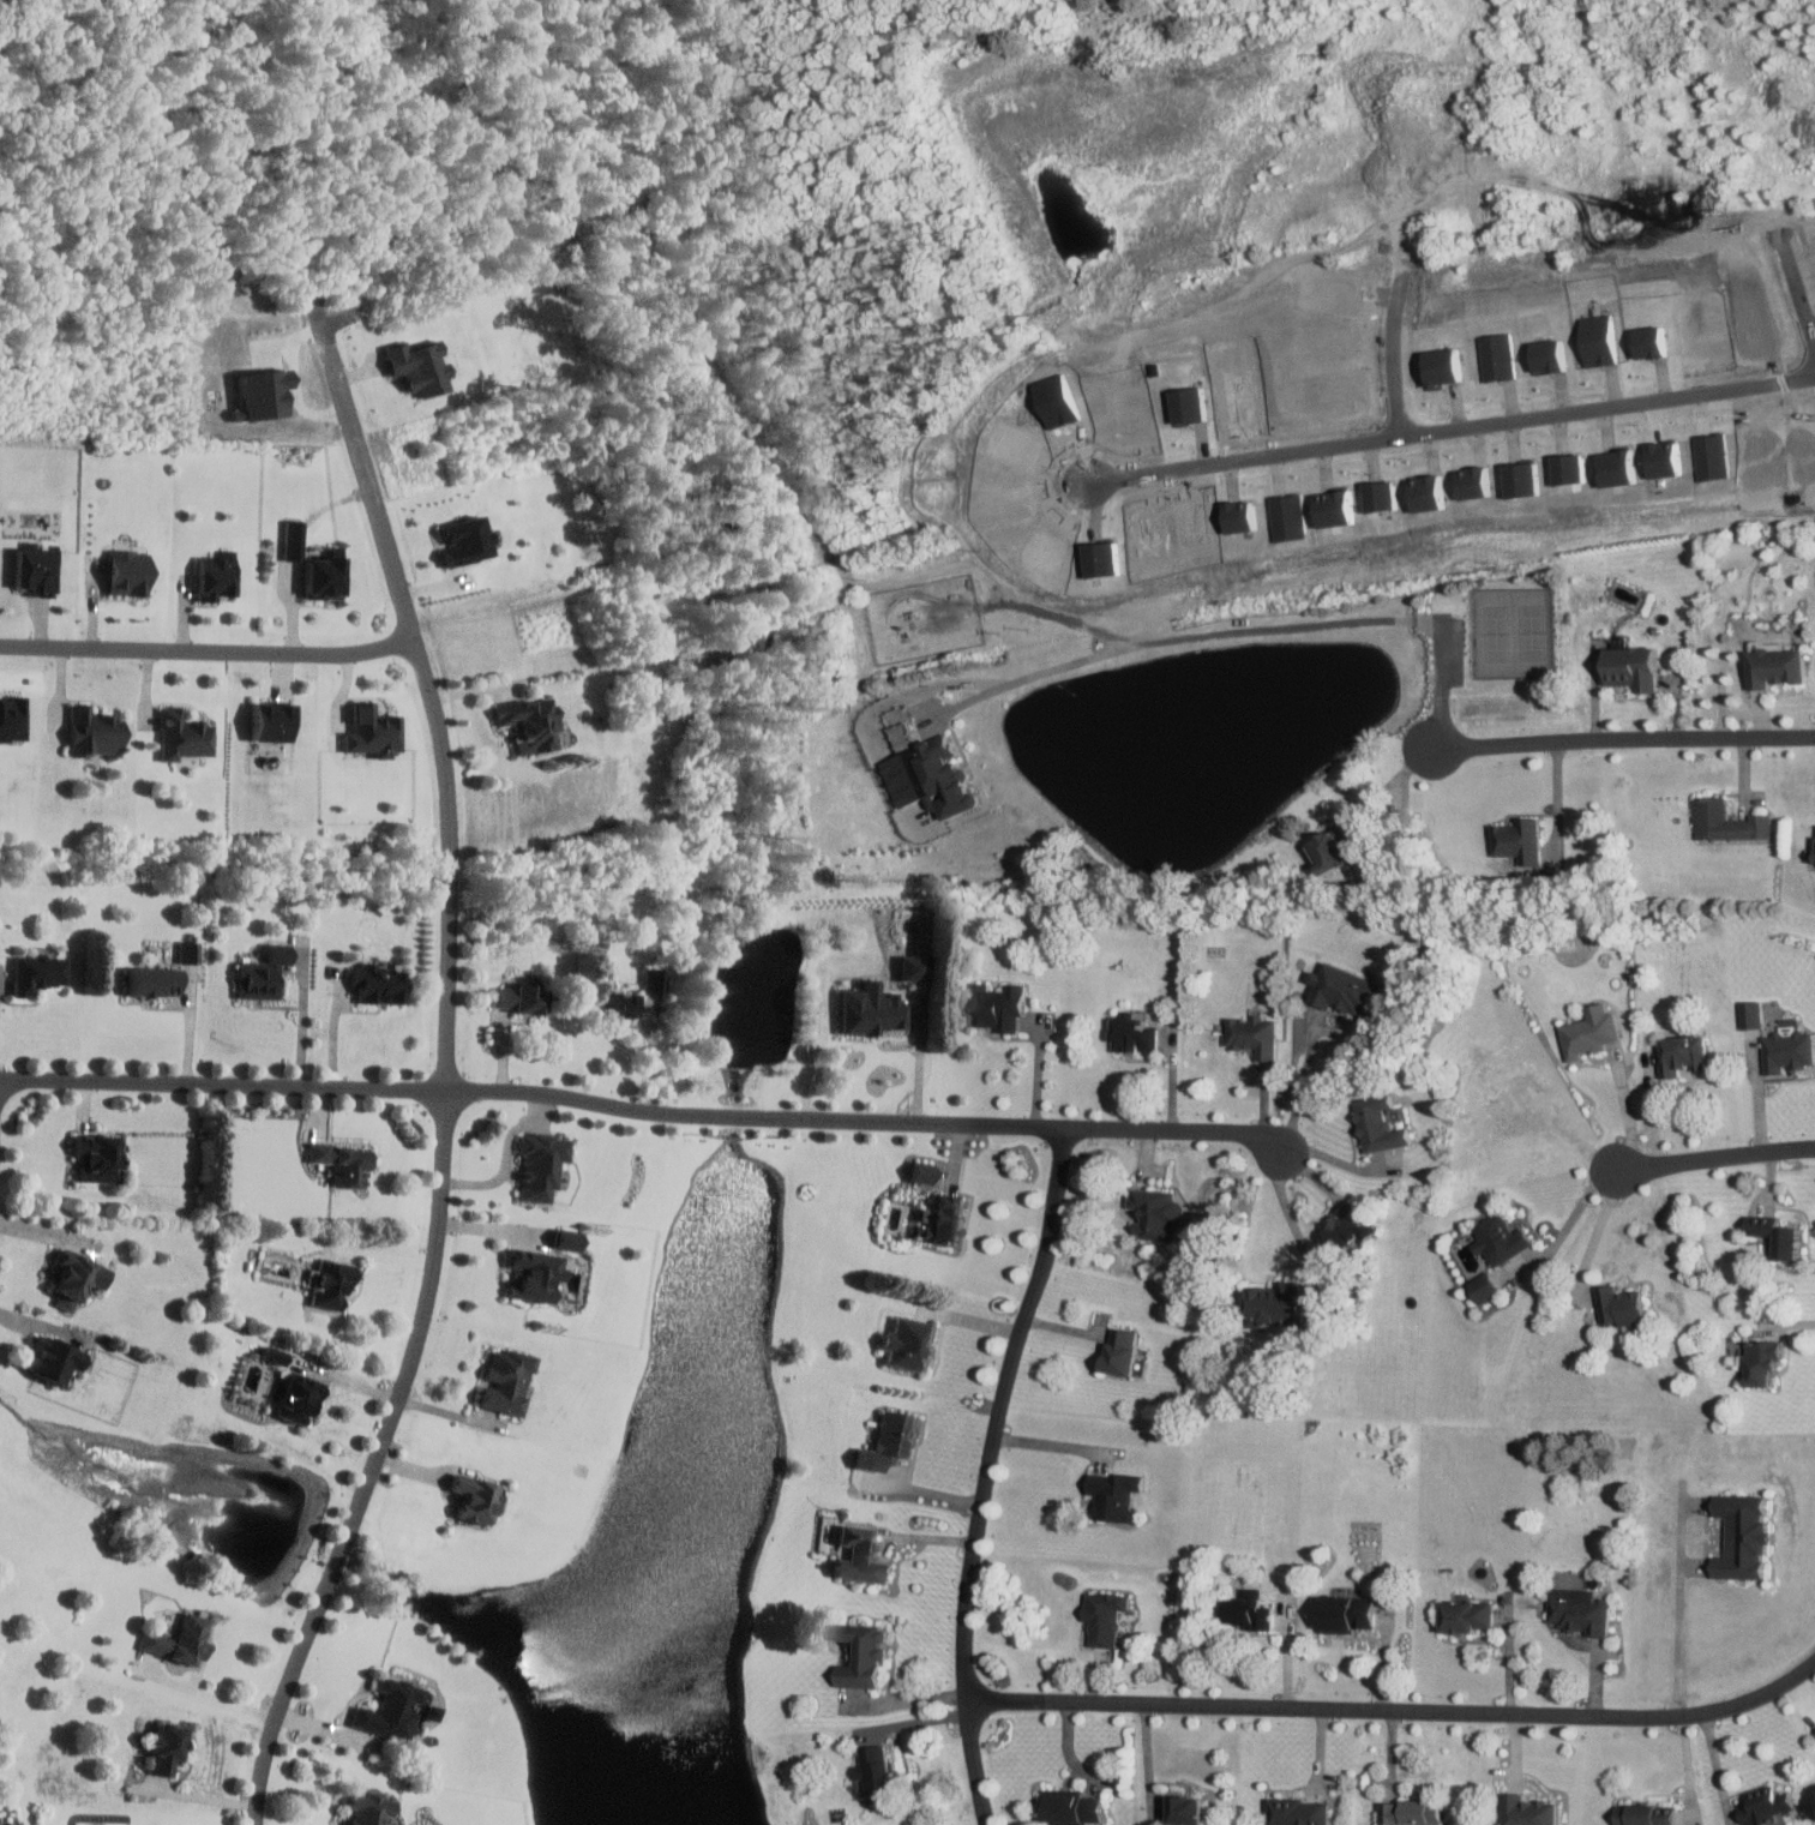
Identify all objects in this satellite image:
road: (1789, 257)
building: (420, 366)
river: (656, 424)
road: (1453, 428)
building: (467, 540)
building: (294, 551)
building: (37, 570)
building: (130, 572)
building: (217, 575)
building: (325, 578)
road: (1062, 619)
park: (1513, 629)
road: (1243, 630)
road: (210, 650)
building: (1635, 667)
building: (1779, 667)
road: (1721, 671)
road: (1751, 710)
building: (13, 718)
building: (274, 721)
building: (531, 724)
building: (94, 731)
building: (374, 732)
building: (185, 736)
road: (1623, 738)
building: (934, 776)
road: (1555, 799)
building: (1727, 821)
road: (1352, 822)
building: (1521, 841)
building: (1340, 848)
building: (1811, 856)
building: (190, 949)
building: (916, 966)
building: (38, 971)
building: (264, 972)
building: (655, 978)
building: (156, 979)
building: (379, 981)
building: (1346, 986)
river: (749, 989)
building: (620, 1002)
building: (1002, 1004)
building: (875, 1008)
building: (1754, 1013)
road: (305, 1023)
road: (192, 1025)
road: (336, 1028)
building: (1134, 1029)
building: (1591, 1029)
building: (1255, 1033)
building: (1789, 1050)
road: (651, 1052)
building: (1684, 1052)
road: (921, 1063)
road: (1298, 1083)
road: (1757, 1089)
road: (446, 1093)
building: (1522, 1099)
road: (1625, 1107)
road: (643, 1109)
road: (1651, 1109)
river: (733, 1118)
building: (1382, 1125)
building: (100, 1155)
road: (1714, 1155)
road: (1338, 1160)
building: (344, 1161)
building: (542, 1164)
building: (925, 1171)
building: (1159, 1211)
building: (943, 1218)
road: (1286, 1218)
road: (1570, 1220)
building: (1353, 1224)
road: (497, 1227)
road: (1594, 1232)
building: (1779, 1233)
building: (1502, 1237)
building: (569, 1238)
building: (535, 1273)
building: (78, 1278)
building: (331, 1281)
building: (1486, 1284)
building: (1279, 1302)
building: (1623, 1304)
road: (1787, 1322)
road: (41, 1323)
building: (910, 1343)
building: (1125, 1350)
building: (54, 1357)
building: (1768, 1359)
building: (509, 1379)
building: (299, 1397)
building: (893, 1437)
road: (1046, 1447)
road: (982, 1472)
river: (666, 1481)
building: (1117, 1494)
building: (477, 1496)
building: (1745, 1535)
building: (863, 1554)
road: (1676, 1598)
building: (1581, 1609)
building: (1251, 1611)
building: (1351, 1611)
building: (1471, 1614)
building: (1106, 1615)
building: (180, 1639)
building: (864, 1652)
road: (220, 1697)
road: (905, 1701)
road: (1398, 1707)
building: (397, 1709)
building: (168, 1746)
road: (1148, 1759)
road: (1717, 1769)
building: (879, 1772)
building: (1769, 1803)
building: (371, 1807)
building: (1074, 1808)
building: (1190, 1808)
building: (1531, 1809)
building: (1300, 1811)
building: (1412, 1811)
building: (1648, 1814)

